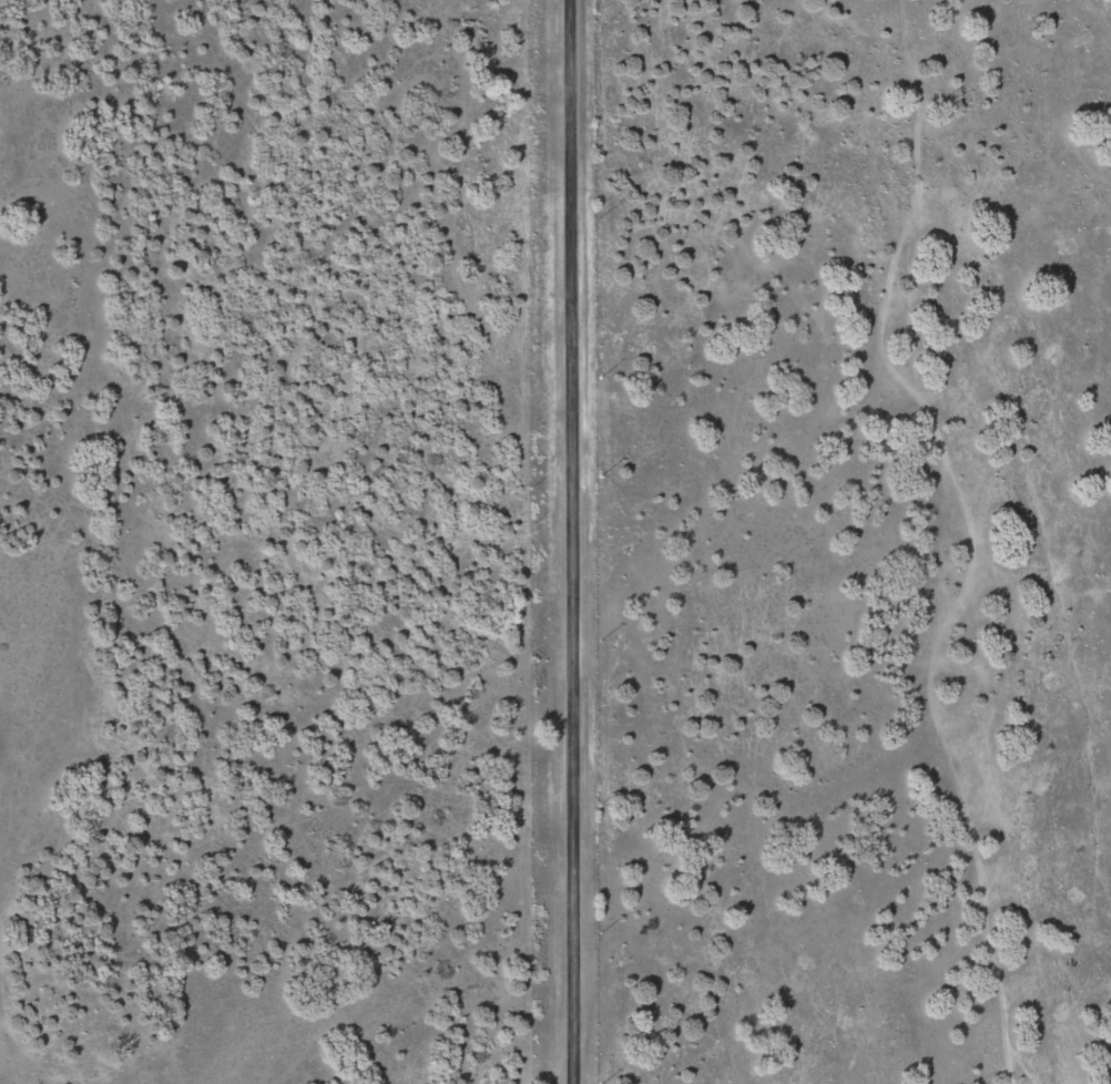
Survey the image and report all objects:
road: (578, 541)

